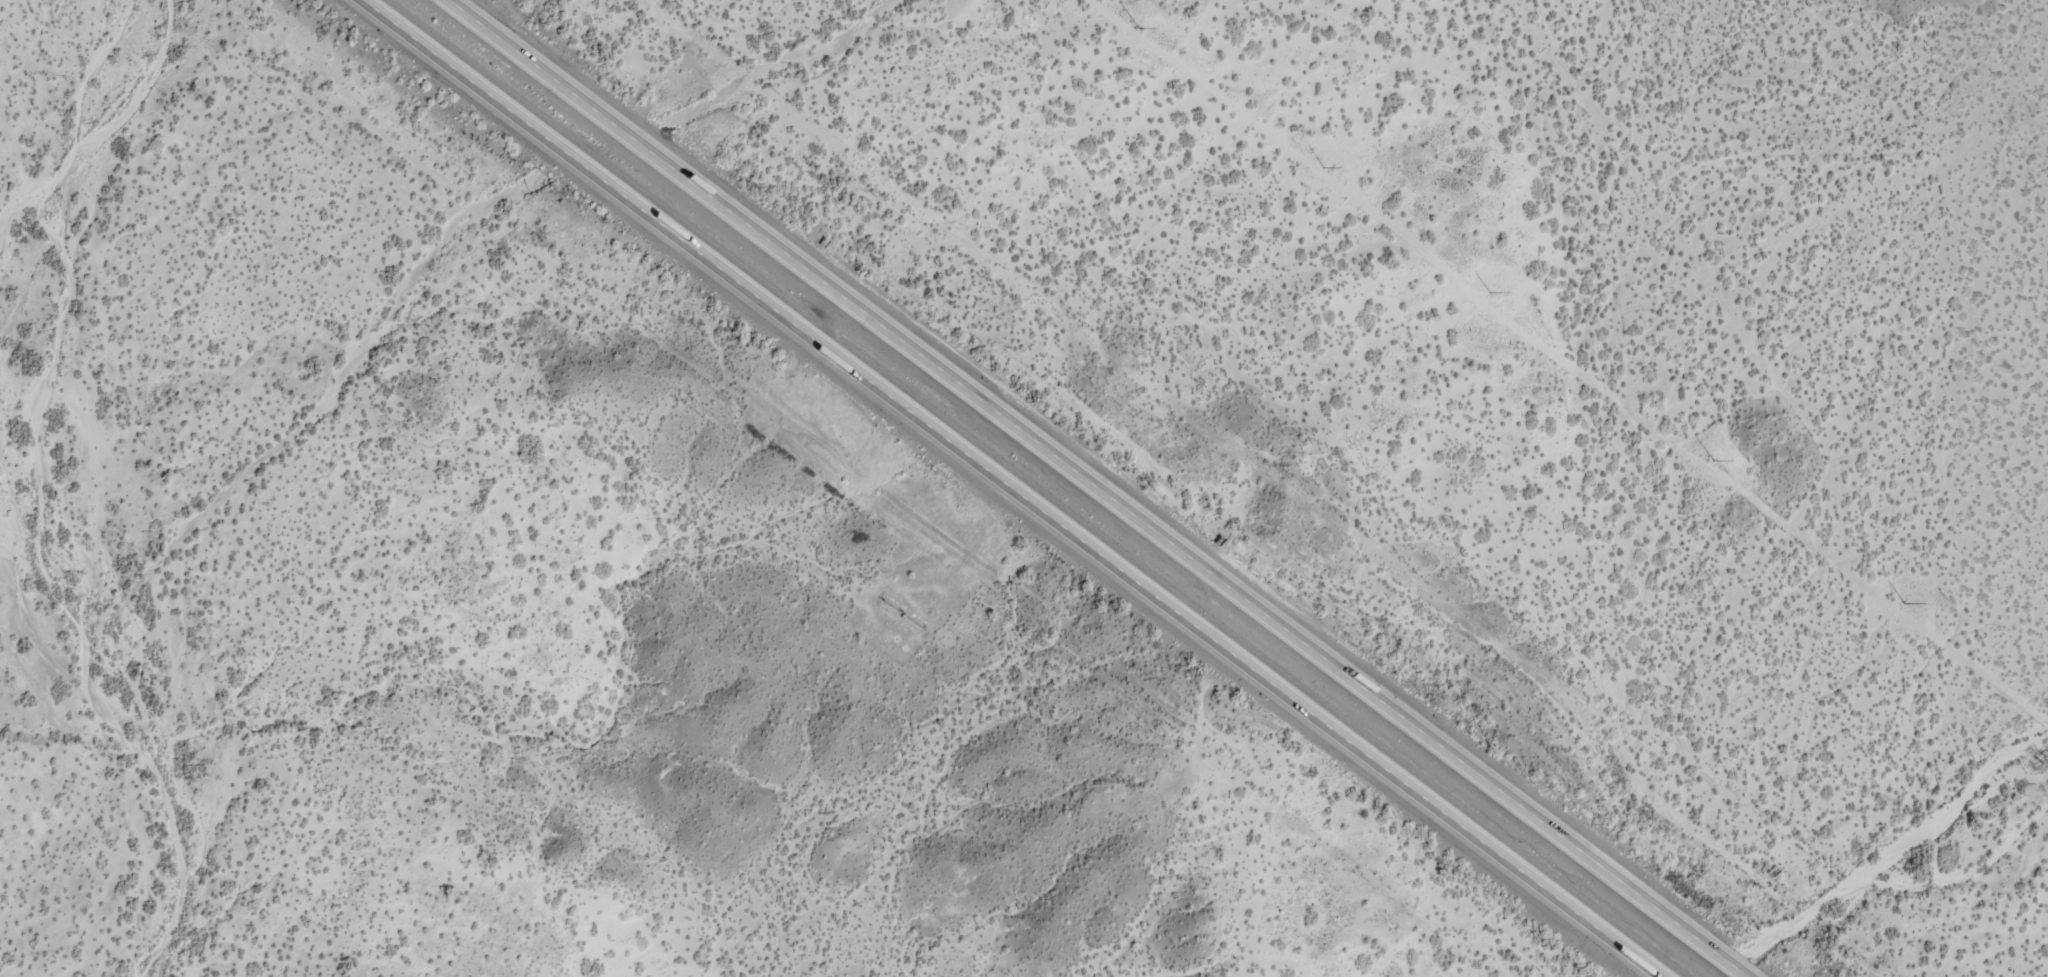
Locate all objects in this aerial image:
road: (1725, 404)
road: (1012, 488)
road: (1093, 488)

